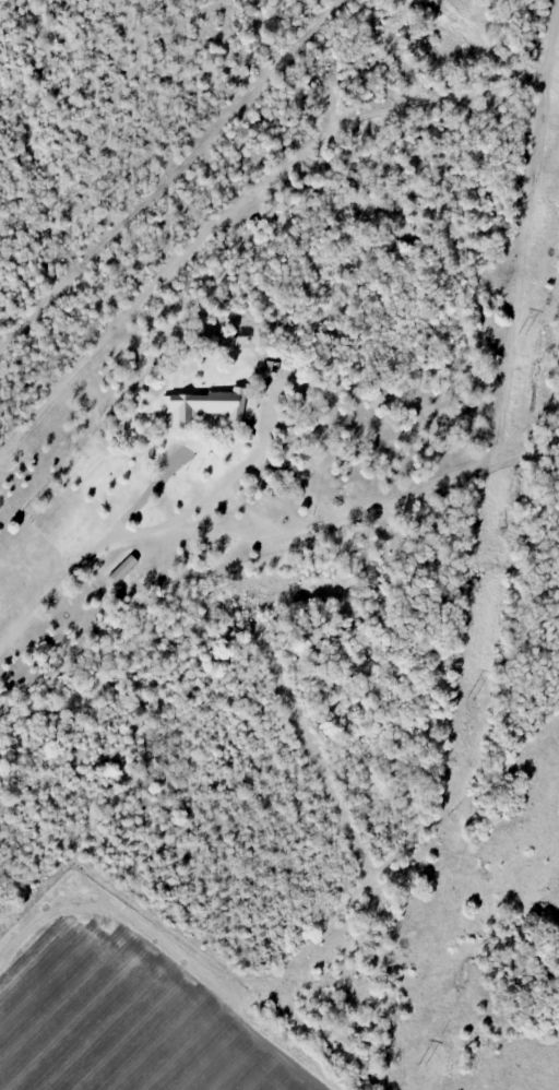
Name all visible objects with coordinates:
power tower: (519, 333)
building: (207, 407)
building: (122, 569)
road: (59, 589)
power tower: (467, 700)
power tower: (418, 1067)

